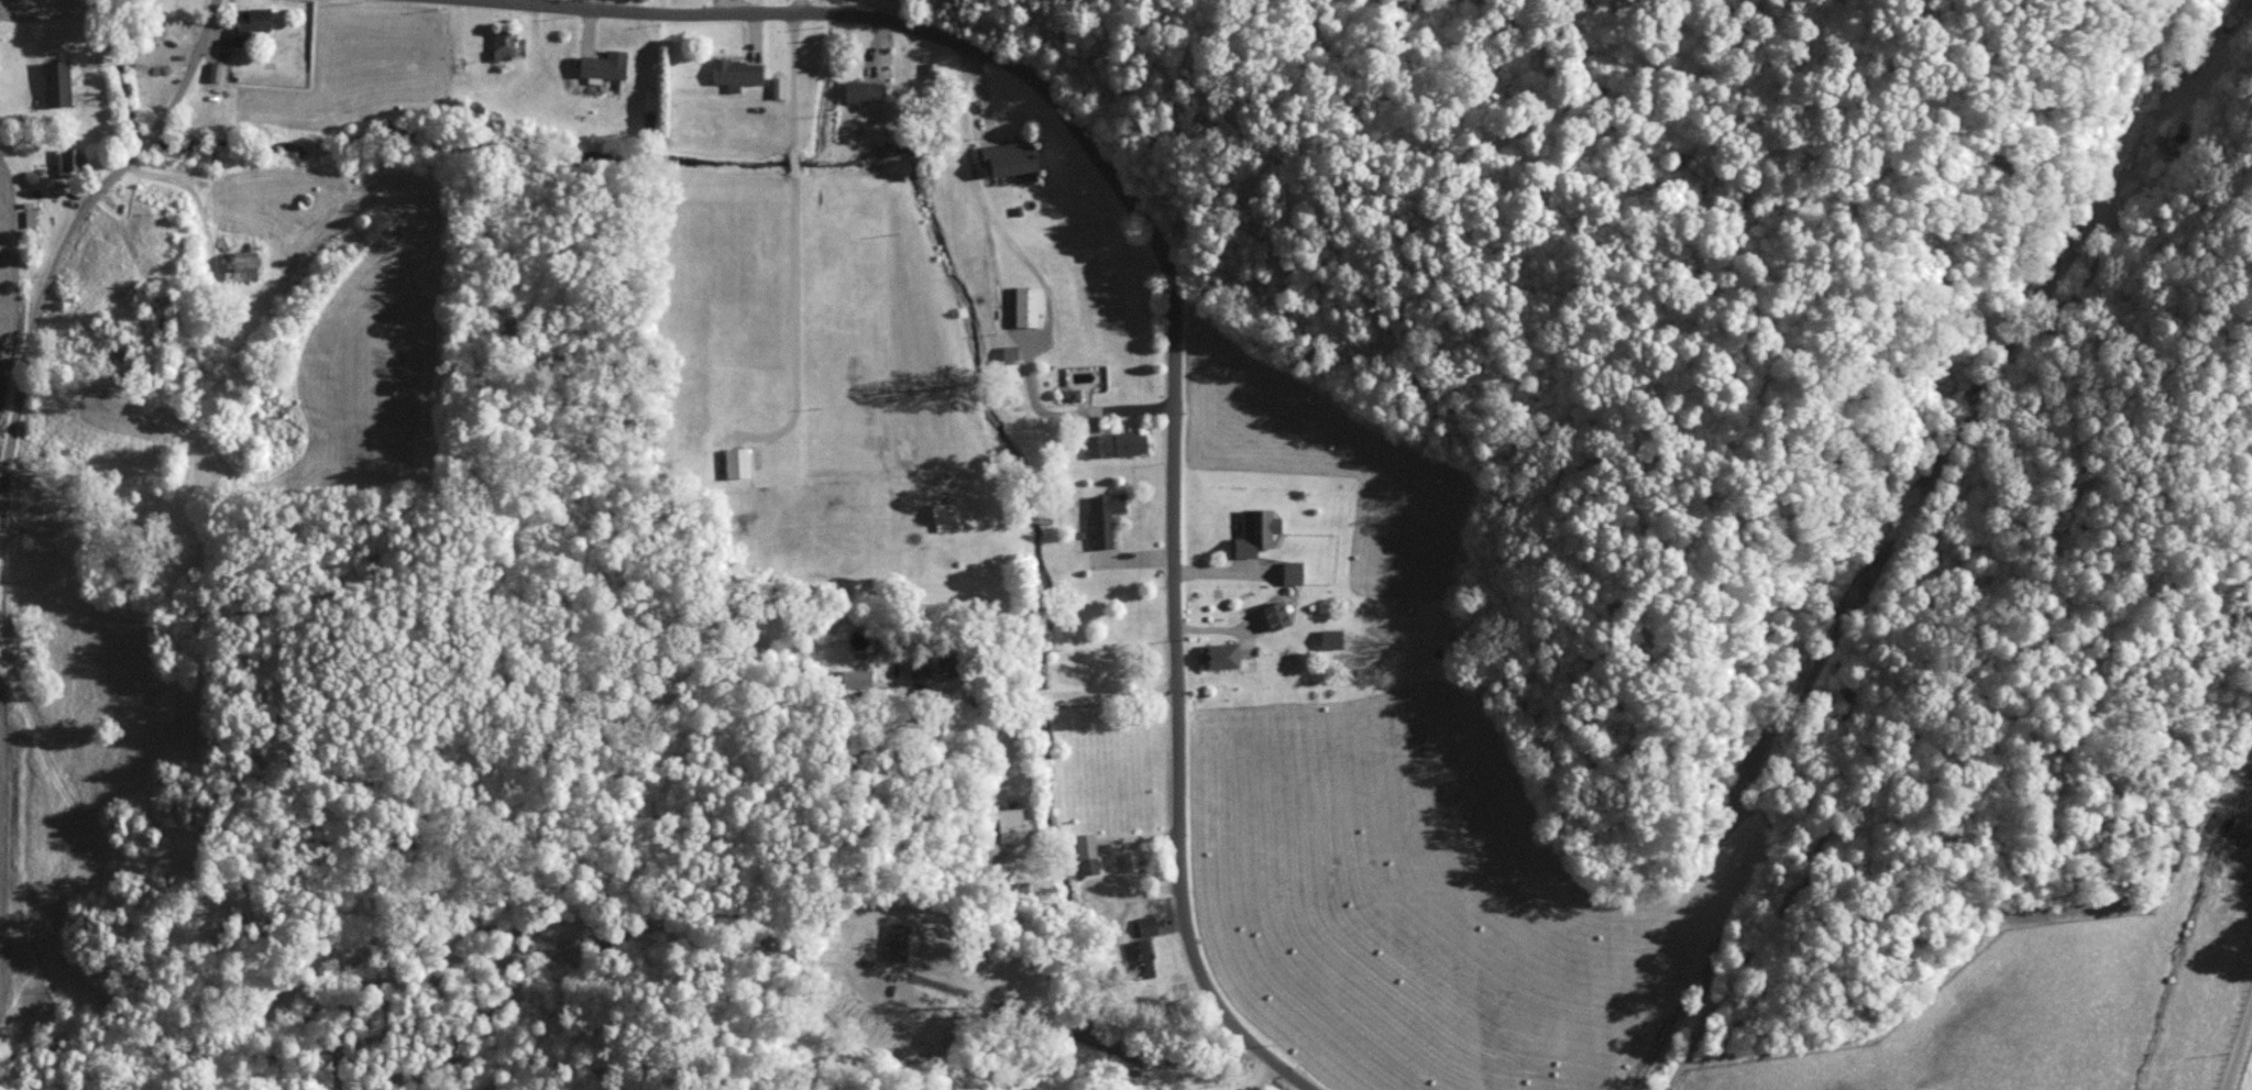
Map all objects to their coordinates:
road: (494, 0)
road: (516, 1)
road: (591, 4)
road: (729, 7)
road: (802, 7)
road: (641, 11)
building: (253, 23)
road: (590, 27)
road: (755, 35)
building: (507, 42)
road: (879, 47)
building: (607, 64)
building: (739, 71)
building: (61, 81)
road: (792, 84)
building: (780, 85)
building: (867, 89)
road: (980, 93)
road: (964, 128)
building: (1014, 156)
building: (72, 159)
road: (793, 164)
road: (196, 198)
building: (33, 218)
building: (248, 265)
road: (45, 289)
building: (1030, 305)
road: (1001, 306)
road: (795, 330)
building: (1074, 393)
road: (1133, 410)
building: (1120, 442)
building: (740, 461)
road: (1173, 464)
building: (947, 510)
building: (1107, 517)
building: (1261, 527)
road: (1890, 536)
road: (1135, 562)
building: (1296, 571)
road: (1228, 575)
building: (1281, 614)
road: (1222, 631)
building: (1334, 637)
building: (1222, 653)
building: (931, 664)
building: (858, 676)
road: (1111, 692)
road: (1037, 696)
road: (965, 697)
building: (1014, 825)
building: (1090, 854)
road: (1110, 866)
building: (1140, 946)
road: (2237, 1039)
road: (1265, 1066)
road: (1254, 1079)
road: (1243, 1088)
road: (1248, 1088)

